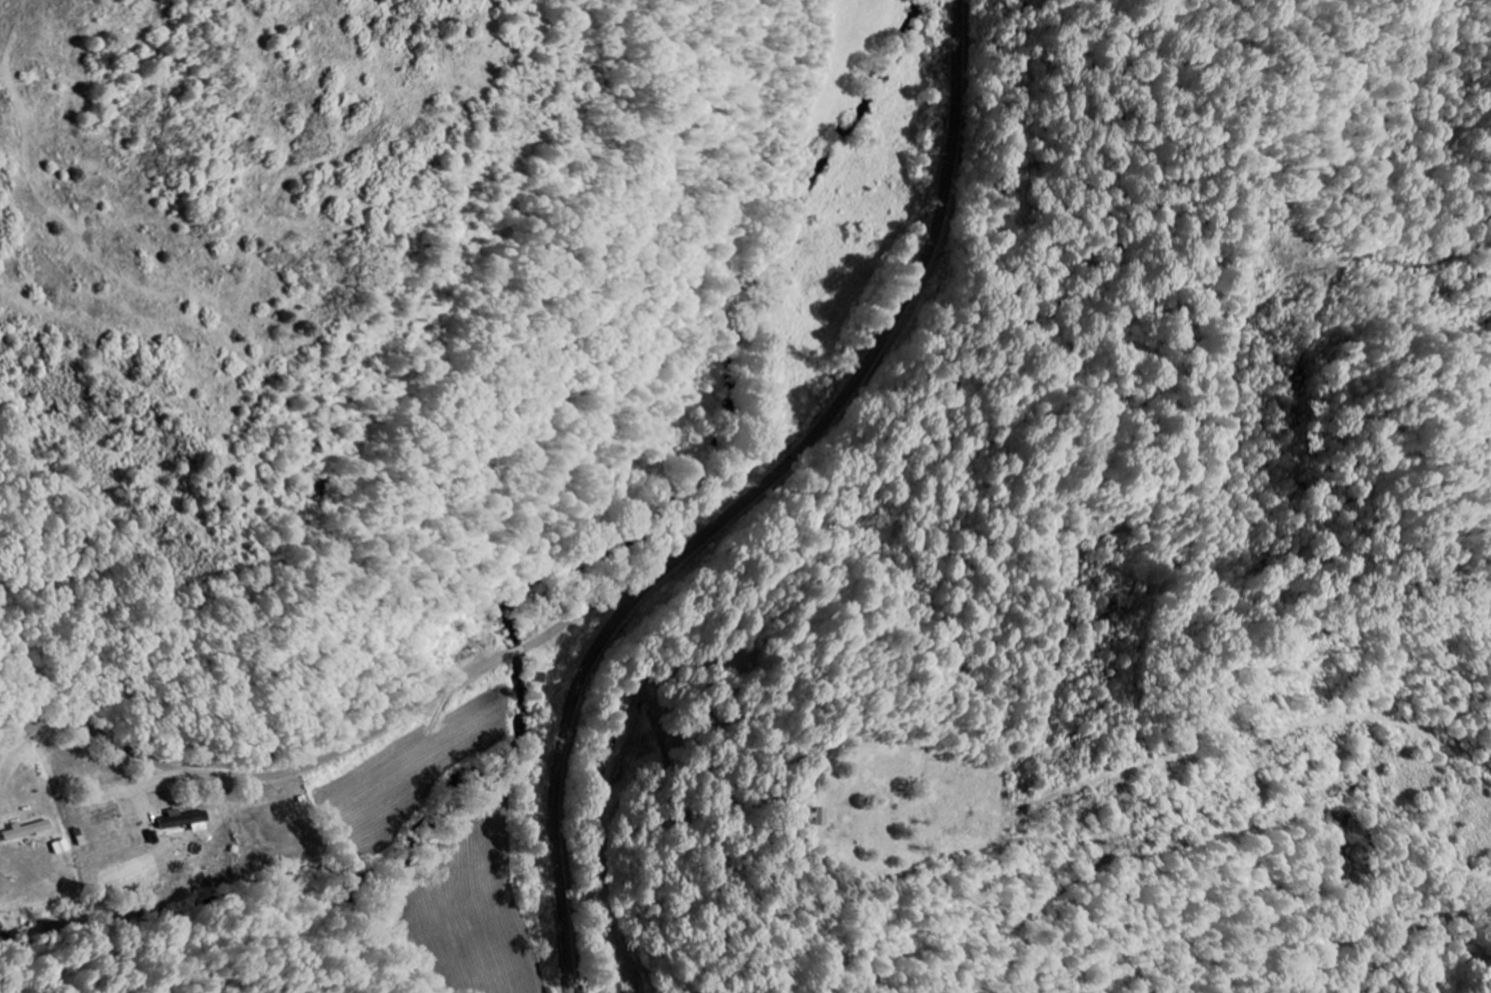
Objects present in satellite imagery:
road: (753, 501)
road: (345, 752)
building: (819, 817)
building: (189, 820)
building: (25, 832)

